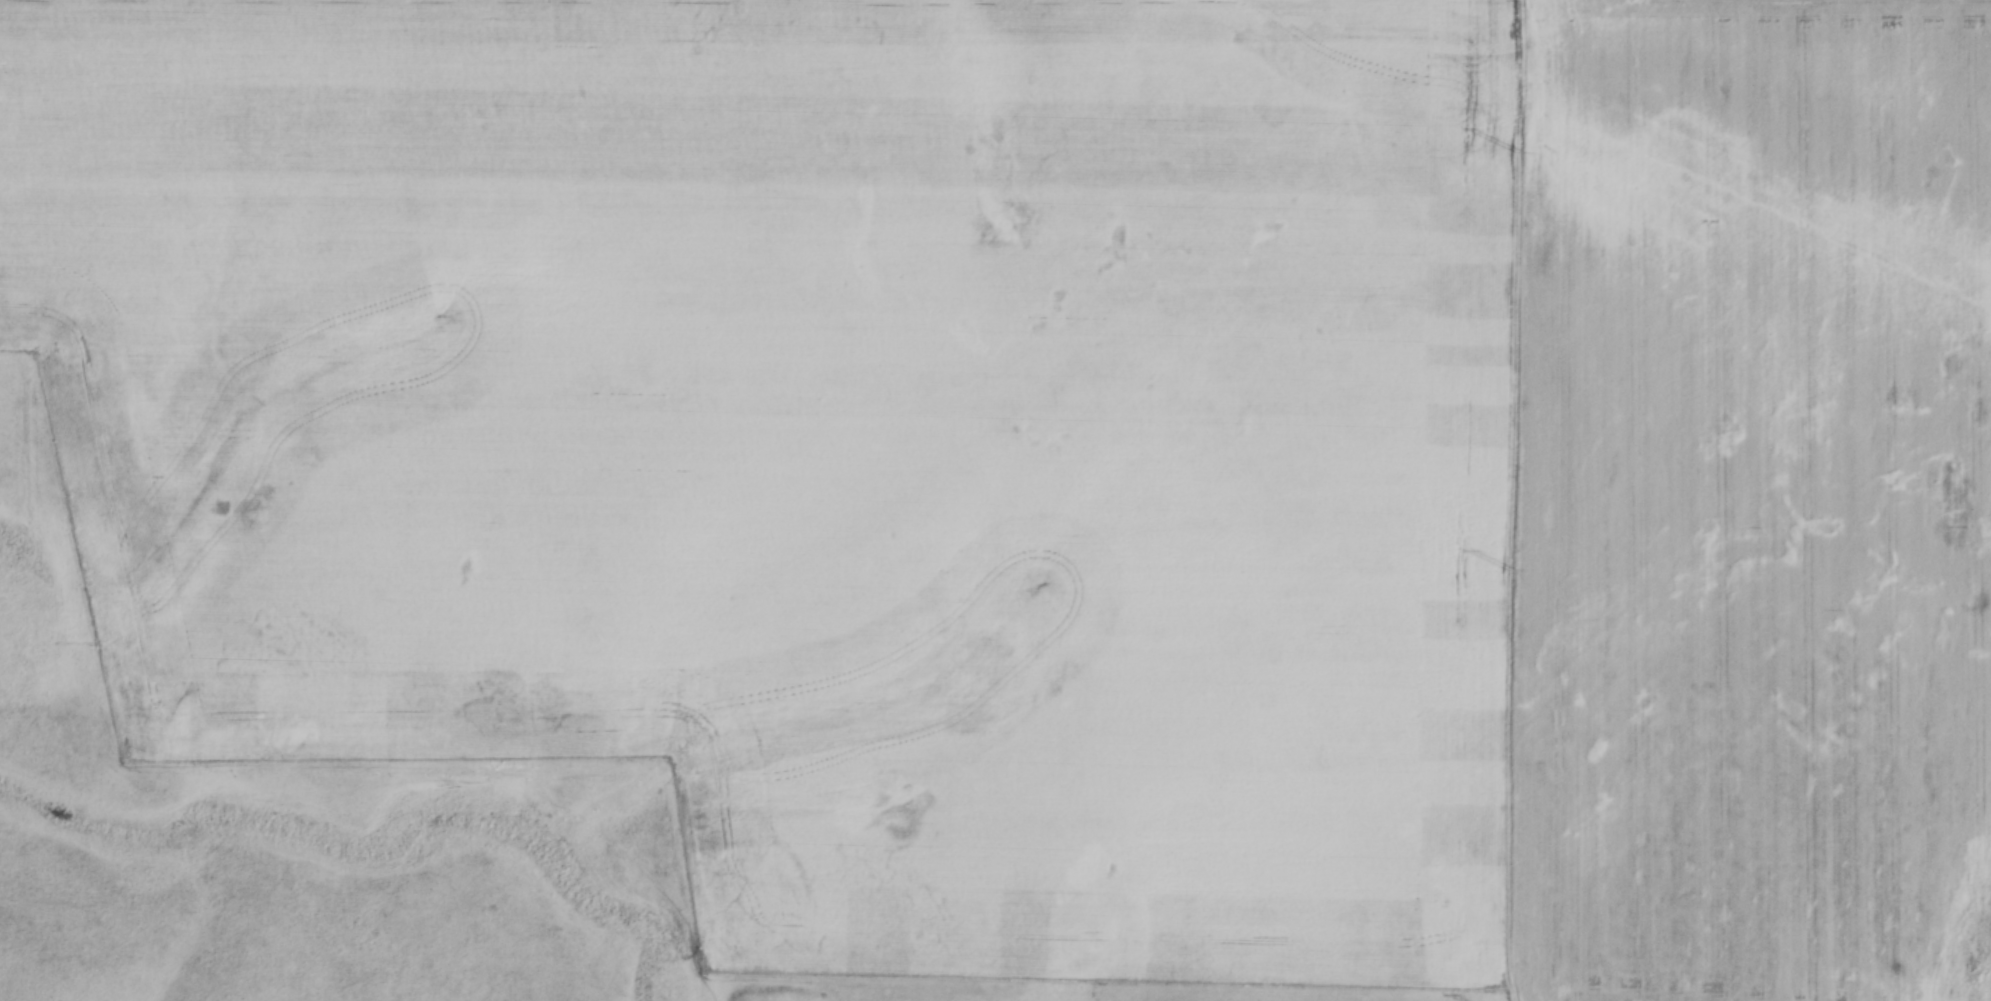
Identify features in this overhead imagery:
power tower: (1516, 153)
power tower: (1507, 570)

